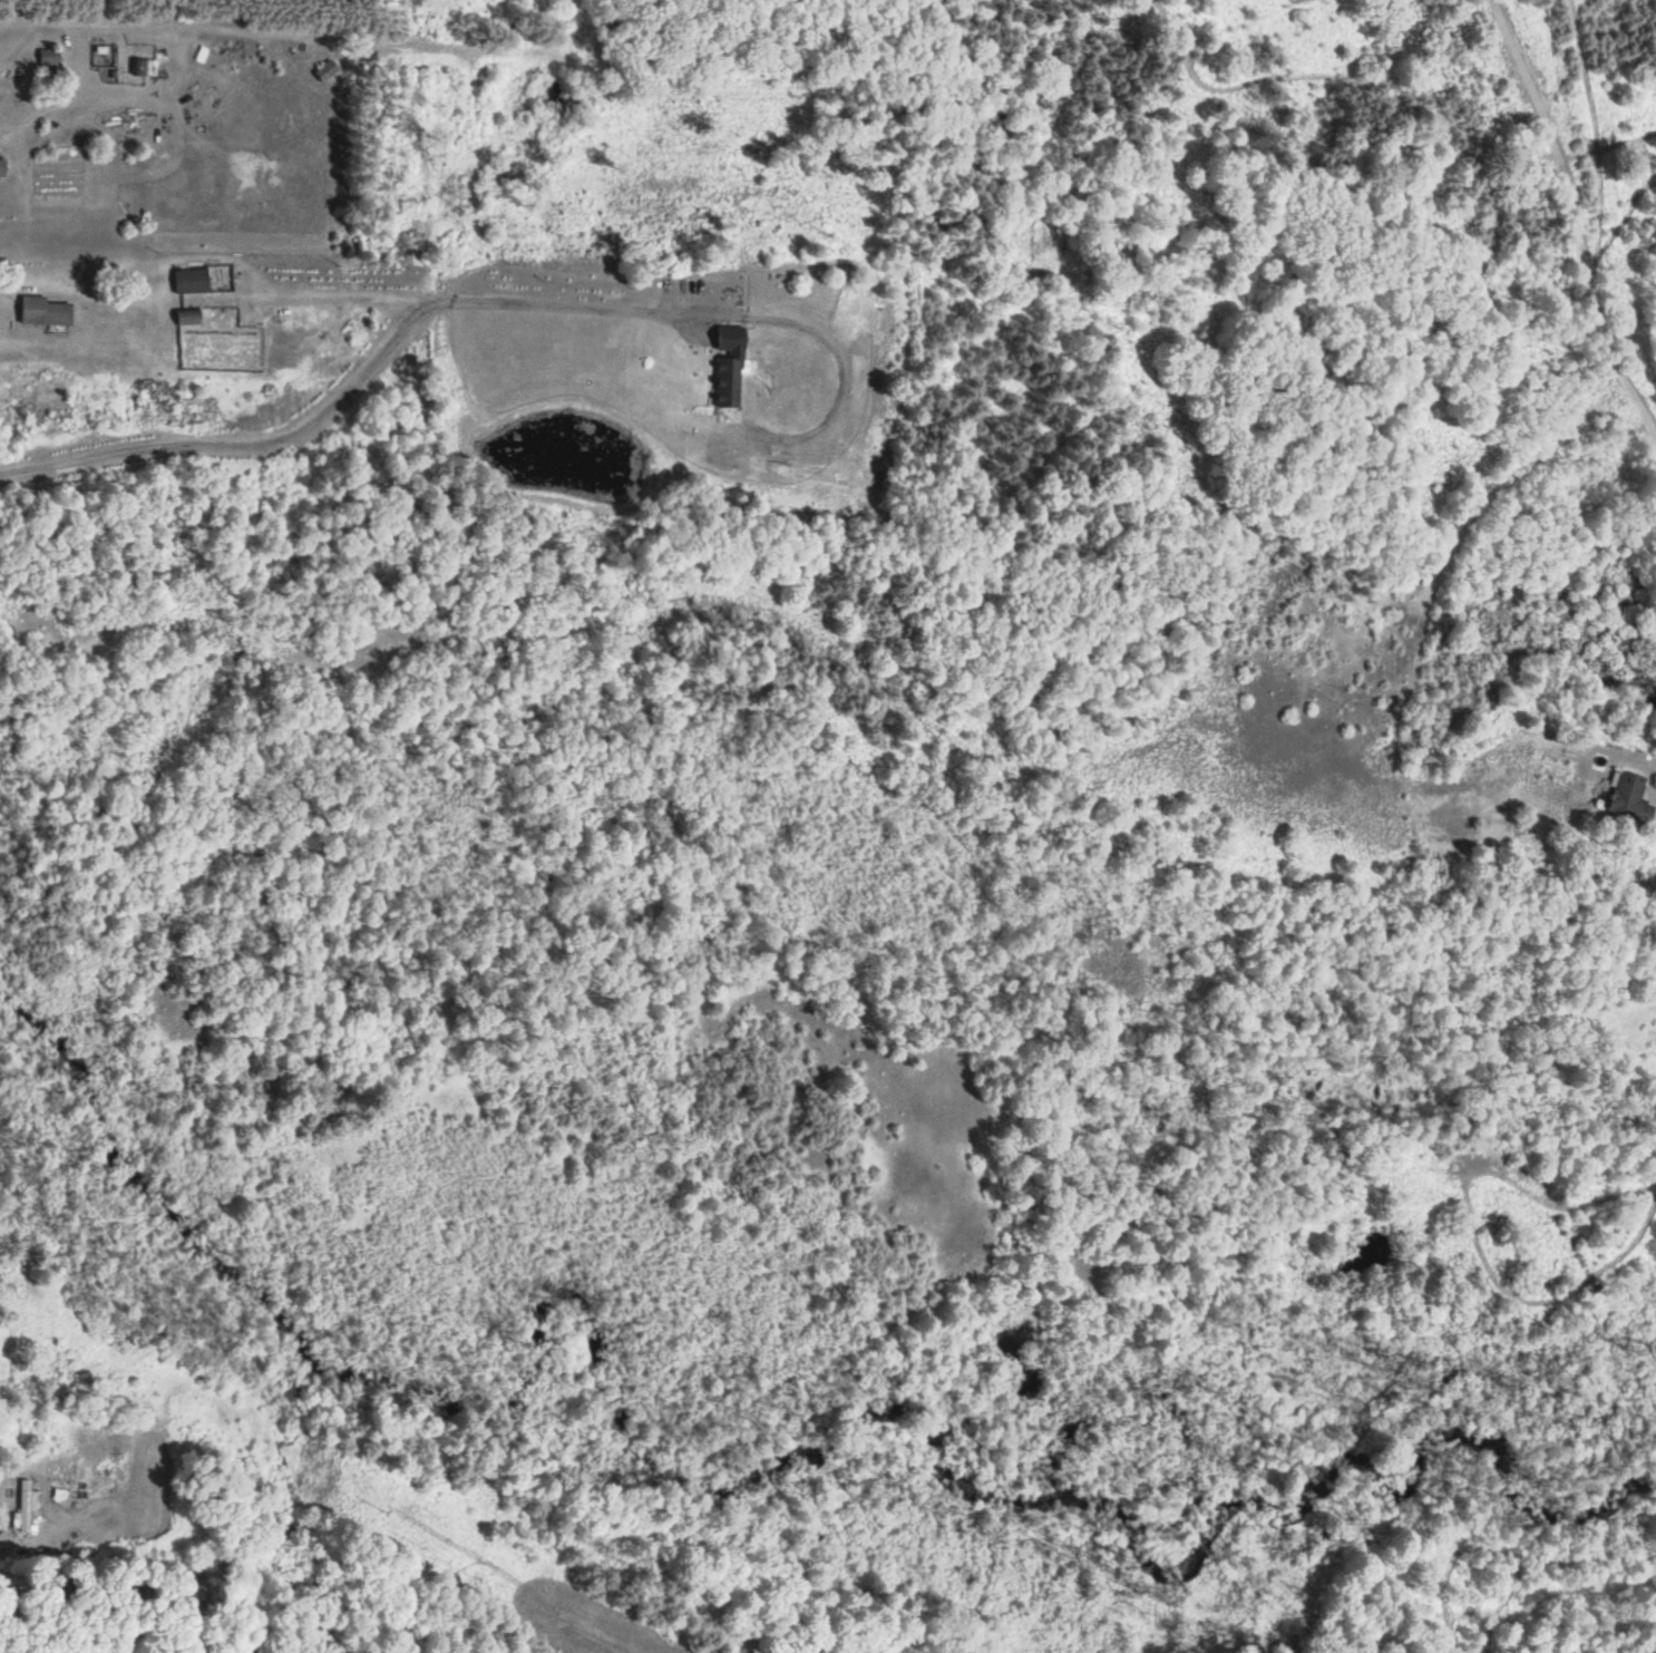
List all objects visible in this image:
building: (142, 68)
building: (325, 71)
building: (2, 169)
road: (1574, 224)
building: (191, 282)
building: (45, 313)
building: (188, 318)
building: (725, 376)
building: (1627, 795)
building: (23, 1507)
park: (1278, 1587)
road: (559, 1610)
road: (1446, 1635)

